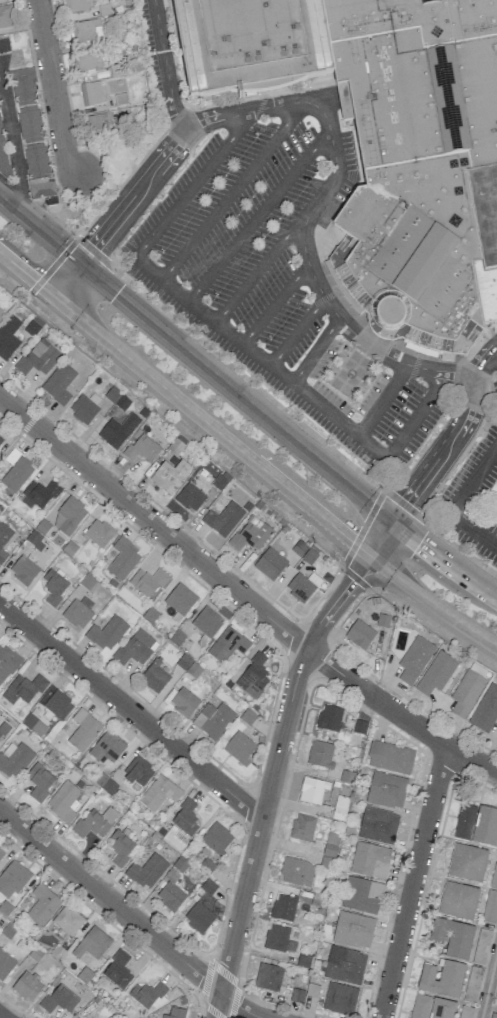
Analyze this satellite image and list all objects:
building: (86, 6)
building: (6, 16)
building: (87, 30)
building: (250, 45)
building: (4, 46)
parking lot: (155, 49)
building: (87, 63)
road: (164, 67)
road: (51, 75)
building: (91, 94)
building: (26, 104)
road: (263, 108)
building: (96, 122)
road: (11, 146)
building: (2, 155)
building: (36, 160)
road: (73, 163)
building: (416, 163)
road: (333, 177)
road: (193, 183)
building: (42, 190)
road: (232, 191)
road: (132, 197)
building: (484, 213)
road: (258, 215)
road: (38, 232)
traffic signals: (93, 246)
road: (260, 269)
road: (65, 280)
traffic signals: (35, 282)
parking lot: (280, 282)
traffic signals: (114, 295)
road: (275, 302)
building: (1, 312)
road: (296, 331)
road: (353, 333)
building: (8, 337)
road: (315, 350)
road: (260, 357)
building: (38, 358)
building: (58, 383)
road: (383, 399)
building: (85, 407)
road: (416, 415)
building: (117, 431)
road: (284, 435)
road: (14, 438)
road: (452, 438)
building: (0, 439)
building: (141, 449)
road: (244, 454)
building: (16, 471)
building: (169, 476)
building: (39, 494)
parking lot: (473, 494)
building: (189, 497)
traffic signals: (406, 503)
road: (454, 504)
building: (68, 516)
building: (223, 519)
building: (98, 533)
building: (250, 535)
building: (4, 539)
traffic signals: (352, 543)
traffic signals: (418, 543)
building: (123, 559)
building: (269, 564)
building: (23, 570)
building: (147, 582)
traffic signals: (354, 582)
building: (302, 586)
building: (53, 587)
road: (241, 595)
building: (180, 599)
building: (79, 611)
building: (206, 624)
building: (107, 633)
building: (359, 634)
building: (228, 644)
building: (136, 648)
building: (414, 659)
road: (302, 660)
building: (7, 663)
building: (436, 673)
building: (155, 676)
building: (253, 676)
building: (27, 691)
building: (466, 692)
building: (183, 702)
building: (58, 705)
building: (485, 709)
road: (131, 711)
building: (41, 714)
building: (329, 718)
building: (213, 720)
building: (33, 725)
building: (3, 728)
building: (83, 730)
building: (496, 739)
building: (107, 747)
building: (239, 748)
building: (320, 754)
building: (389, 757)
building: (13, 759)
building: (137, 772)
building: (39, 781)
building: (312, 790)
building: (385, 790)
building: (159, 793)
building: (64, 801)
building: (339, 808)
building: (185, 818)
building: (94, 822)
building: (464, 822)
building: (377, 825)
building: (302, 827)
building: (486, 827)
building: (216, 838)
building: (120, 847)
building: (1, 855)
building: (467, 862)
building: (146, 871)
building: (296, 872)
building: (12, 879)
road: (413, 881)
building: (361, 895)
building: (170, 896)
building: (491, 897)
road: (110, 900)
building: (458, 900)
building: (42, 905)
road: (241, 906)
building: (283, 907)
building: (198, 917)
building: (67, 920)
building: (353, 930)
building: (452, 937)
building: (278, 938)
building: (91, 943)
building: (481, 946)
building: (5, 964)
building: (344, 965)
building: (118, 969)
building: (268, 977)
building: (441, 978)
road: (488, 981)
building: (472, 984)
building: (27, 986)
building: (312, 990)
building: (148, 995)
building: (496, 996)
building: (339, 998)
building: (59, 999)
road: (217, 1005)
road: (240, 1006)
building: (420, 1006)
building: (442, 1009)
building: (465, 1012)
building: (174, 1013)
building: (493, 1015)
road: (0, 1017)

